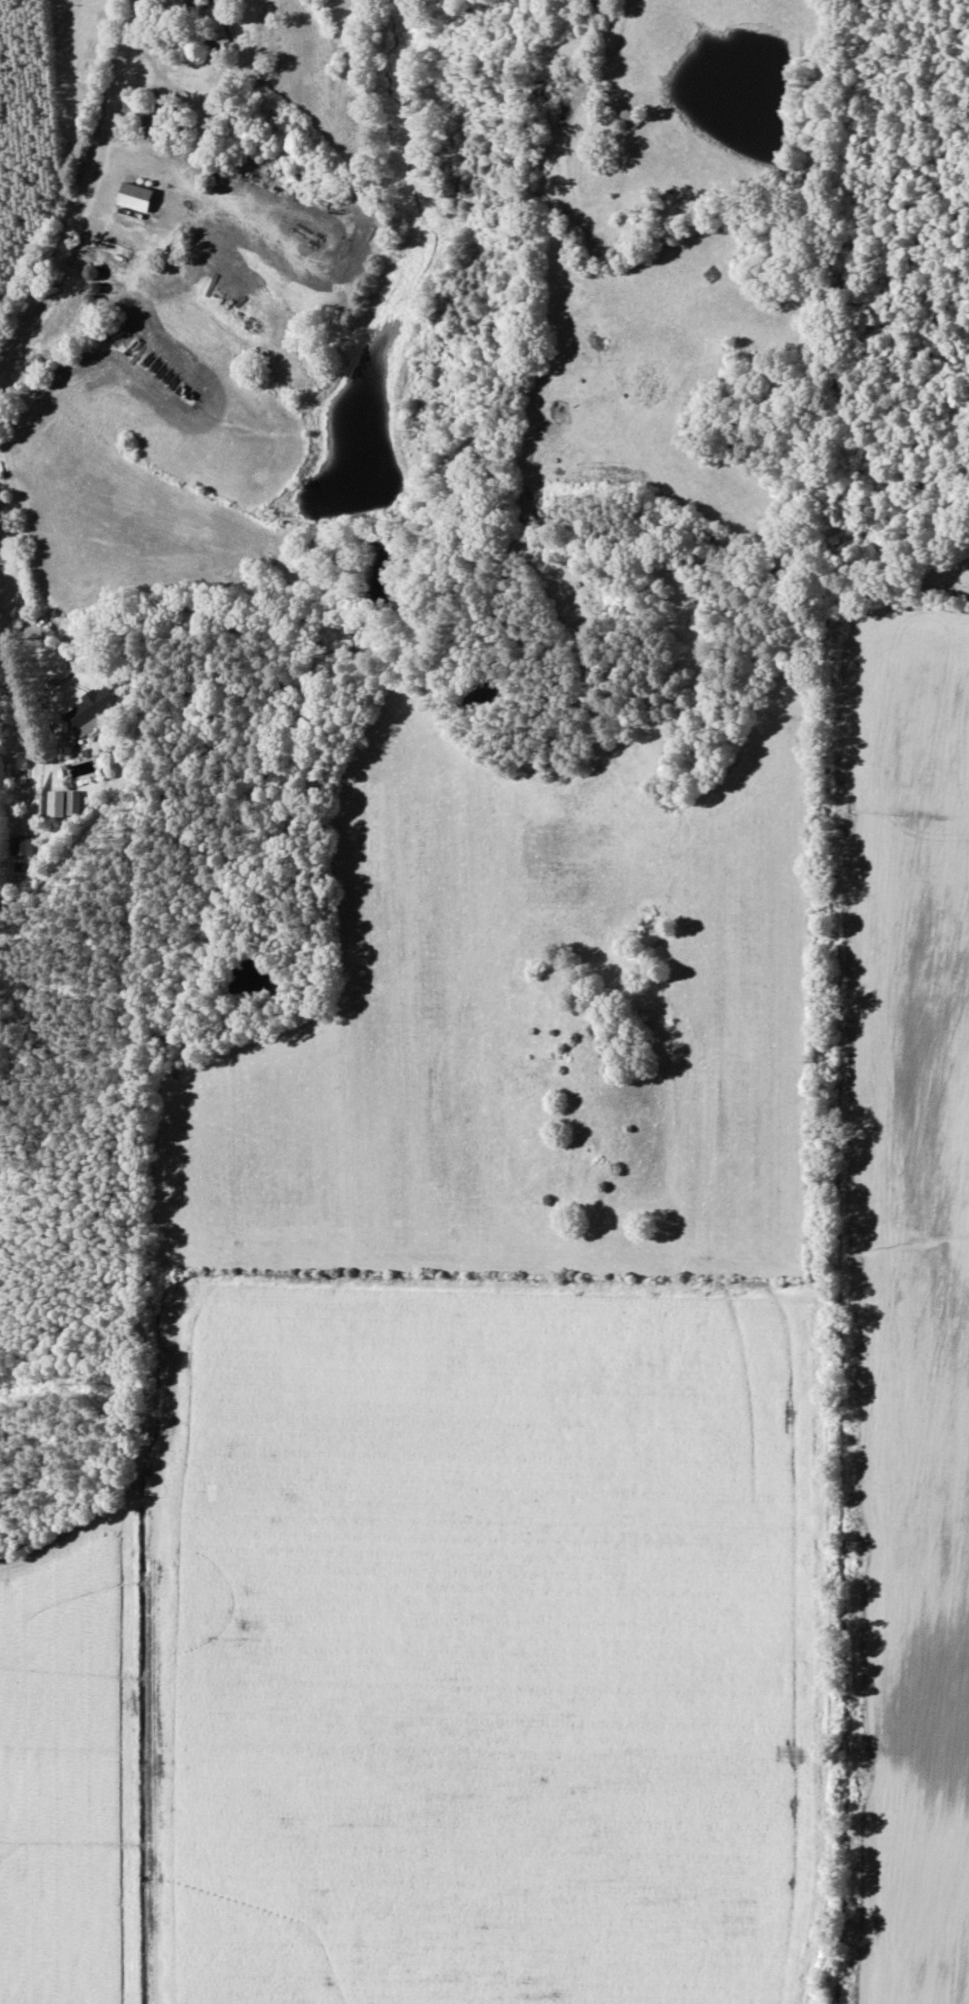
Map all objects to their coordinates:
building: (624, 114)
building: (150, 120)
road: (86, 201)
building: (132, 204)
building: (89, 273)
road: (246, 275)
building: (91, 711)
building: (54, 804)
building: (20, 846)

